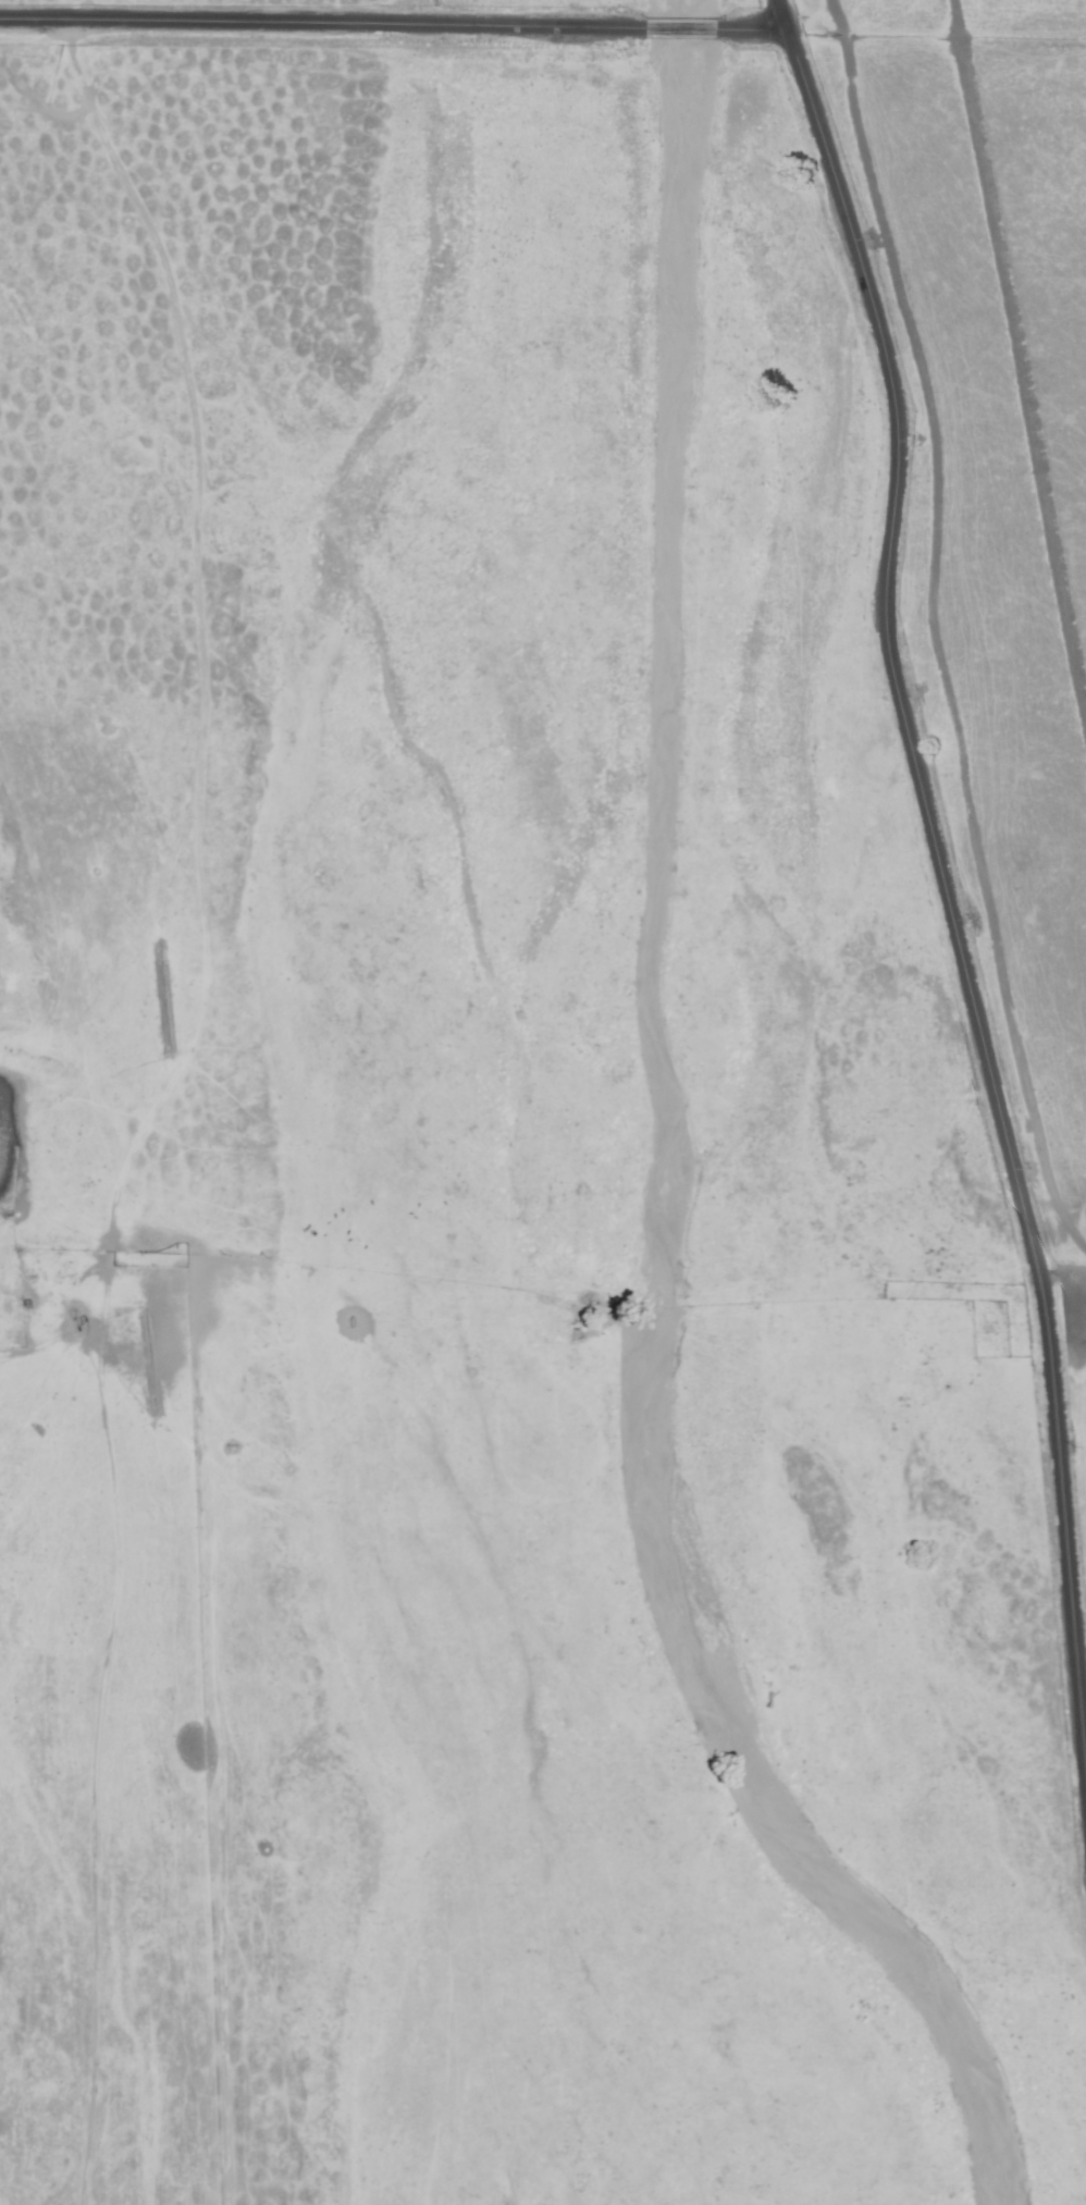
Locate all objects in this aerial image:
road: (321, 22)
road: (682, 27)
road: (754, 28)
road: (946, 889)
crop: (165, 1046)
crop: (704, 1143)

